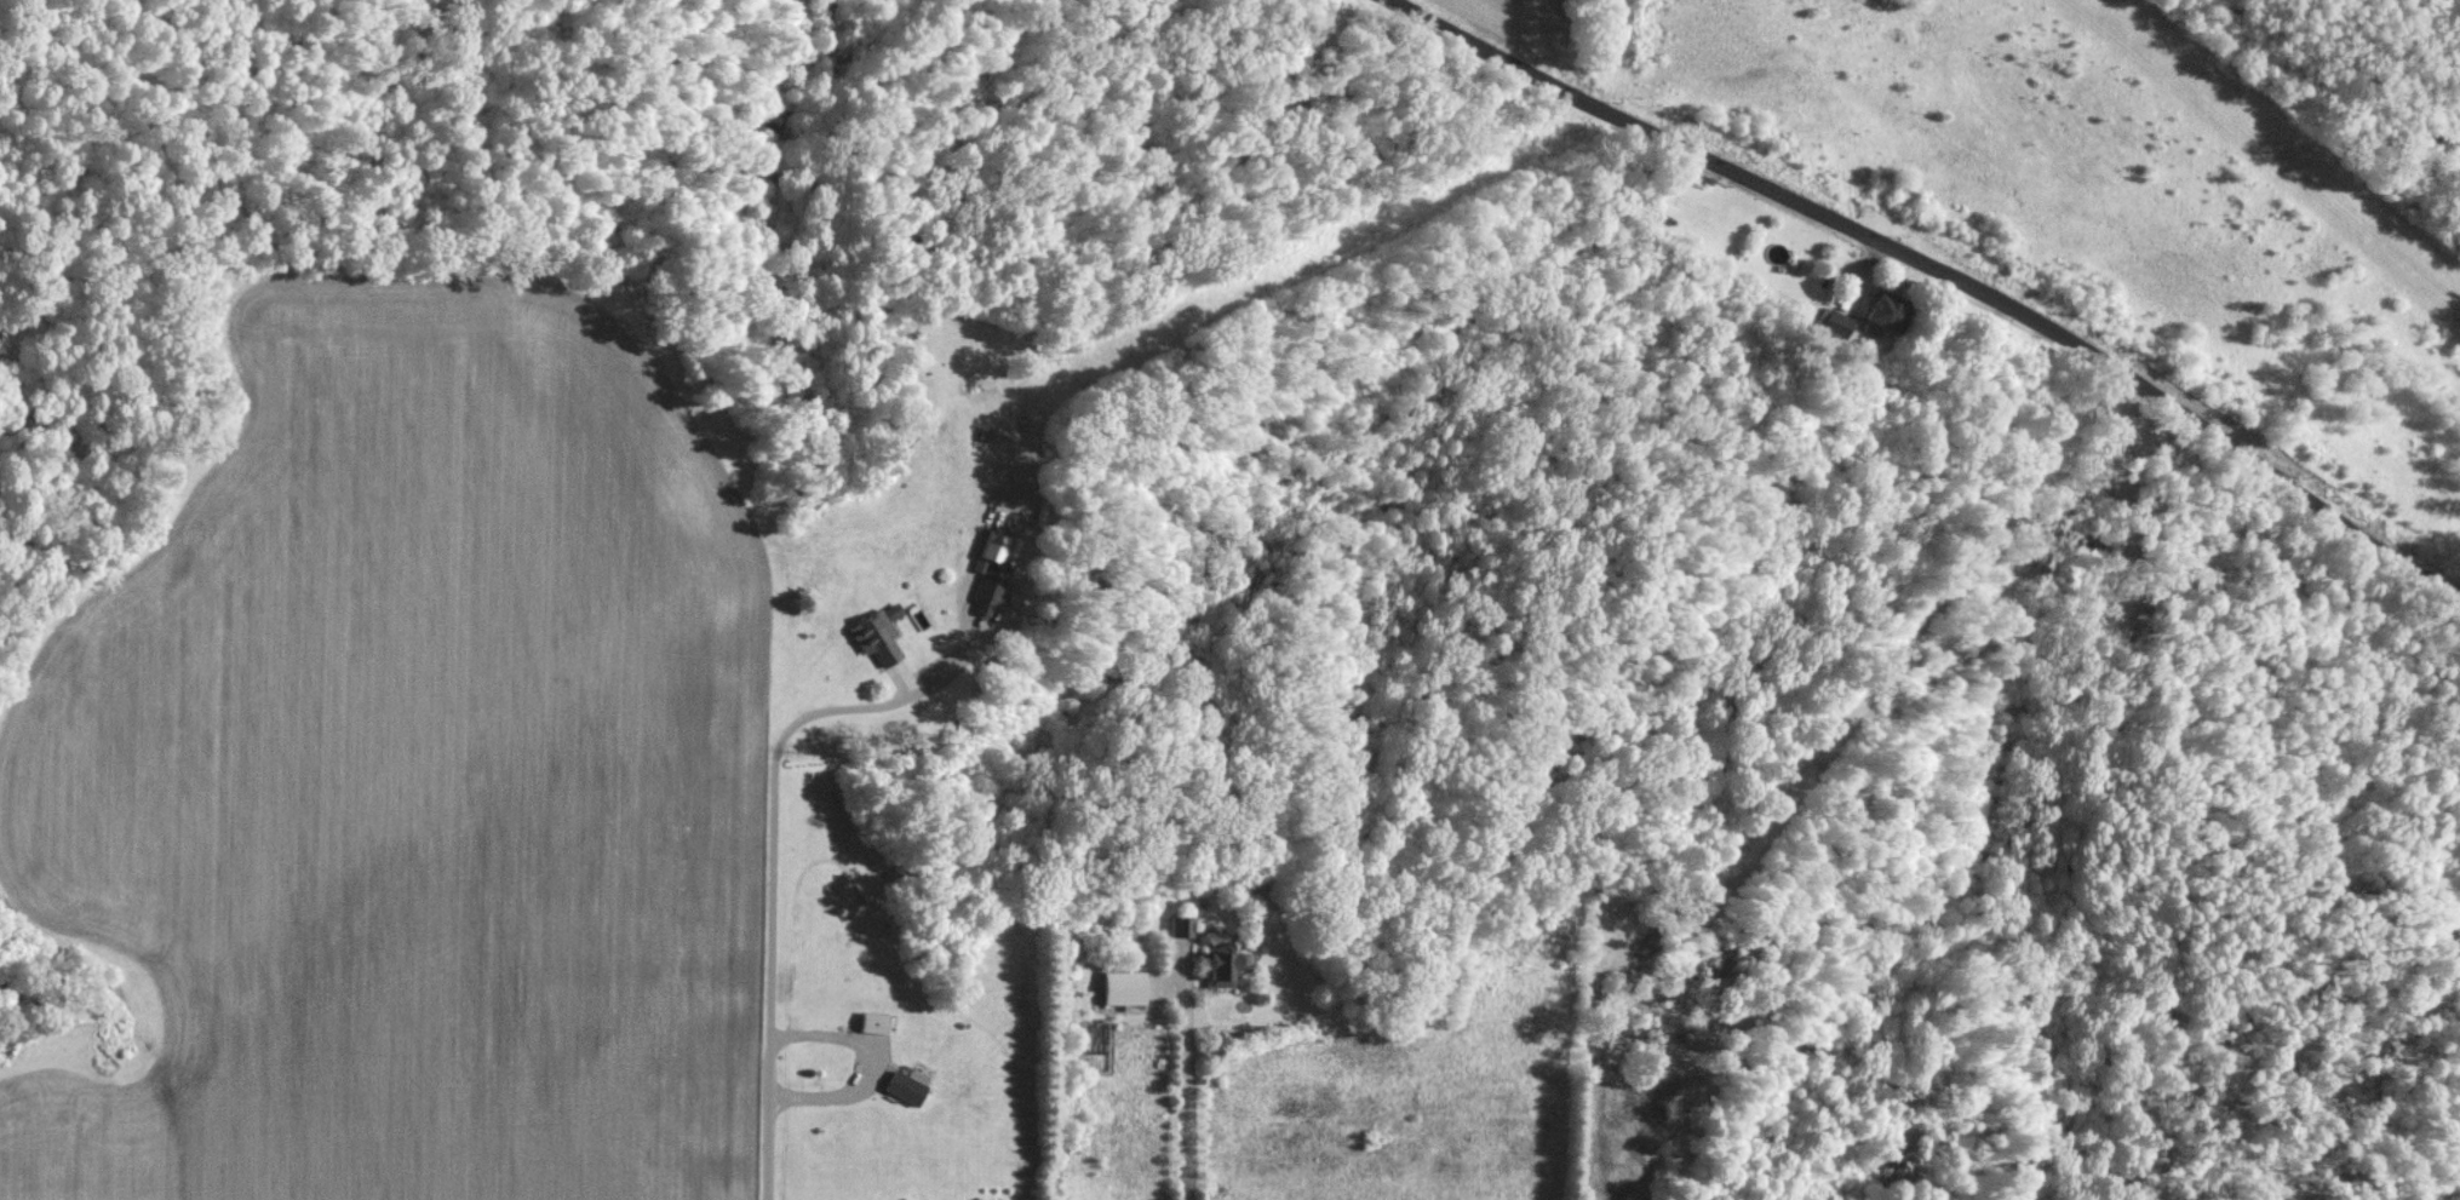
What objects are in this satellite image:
road: (1934, 276)
building: (1886, 314)
building: (1837, 322)
building: (872, 636)
road: (770, 843)
building: (1218, 968)
building: (1118, 987)
building: (877, 1021)
road: (1172, 1070)
building: (908, 1087)

